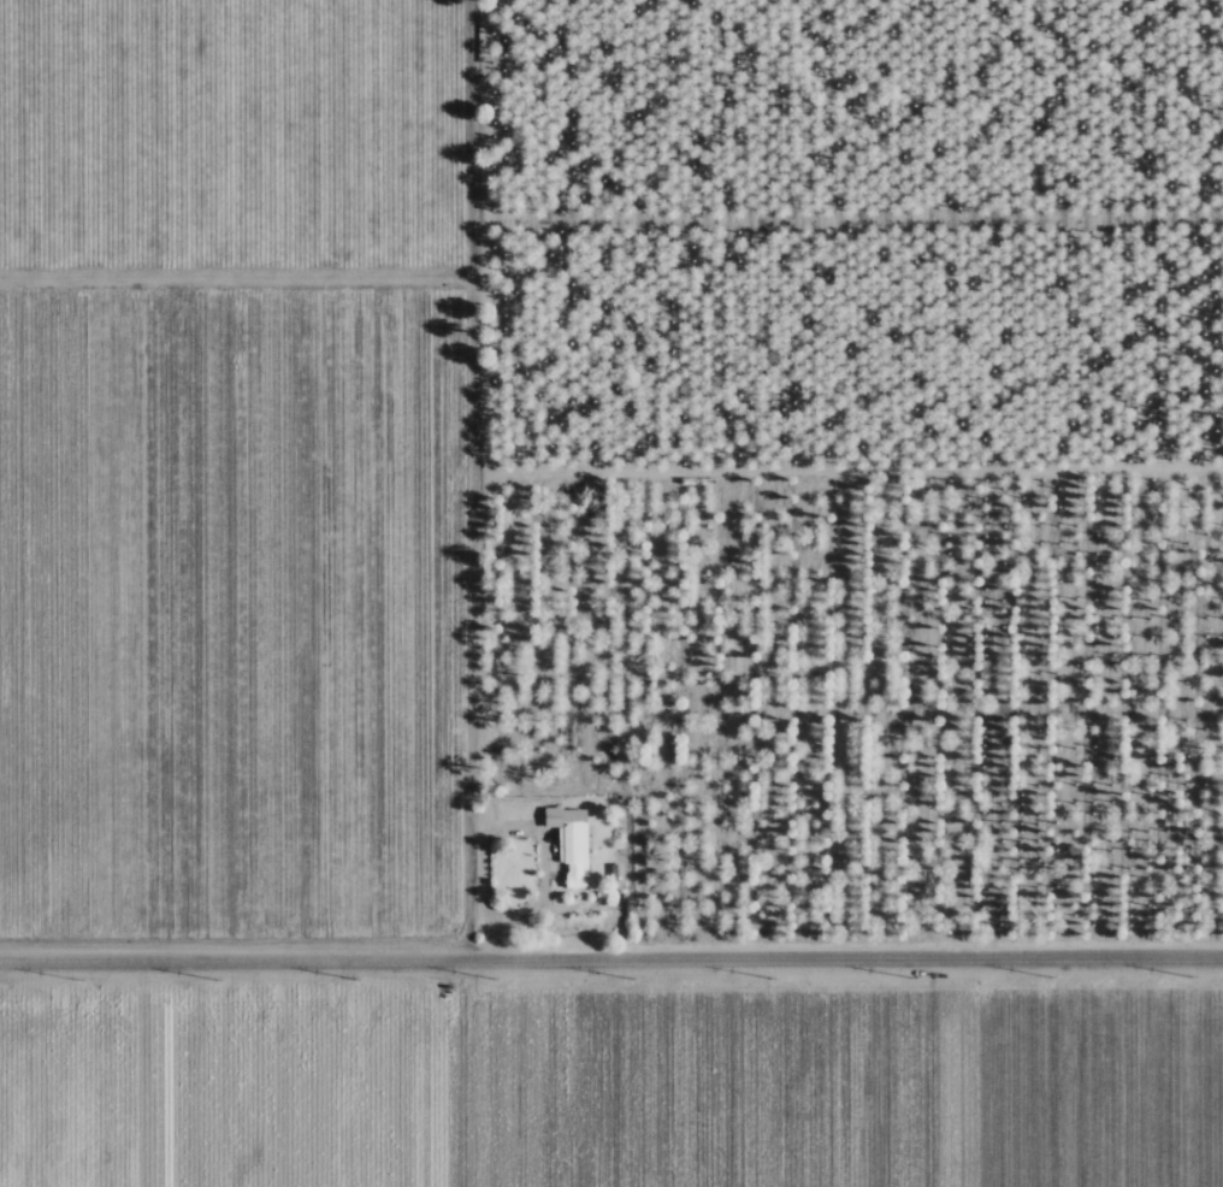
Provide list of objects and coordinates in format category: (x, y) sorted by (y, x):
road: (510, 832)
building: (568, 844)
road: (611, 961)
crop: (611, 1082)

